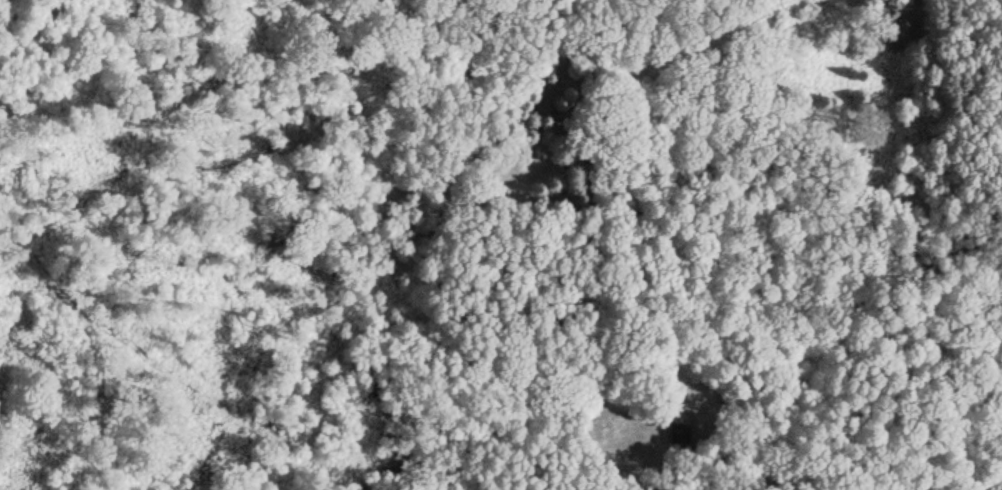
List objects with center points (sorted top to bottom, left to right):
road: (792, 259)

